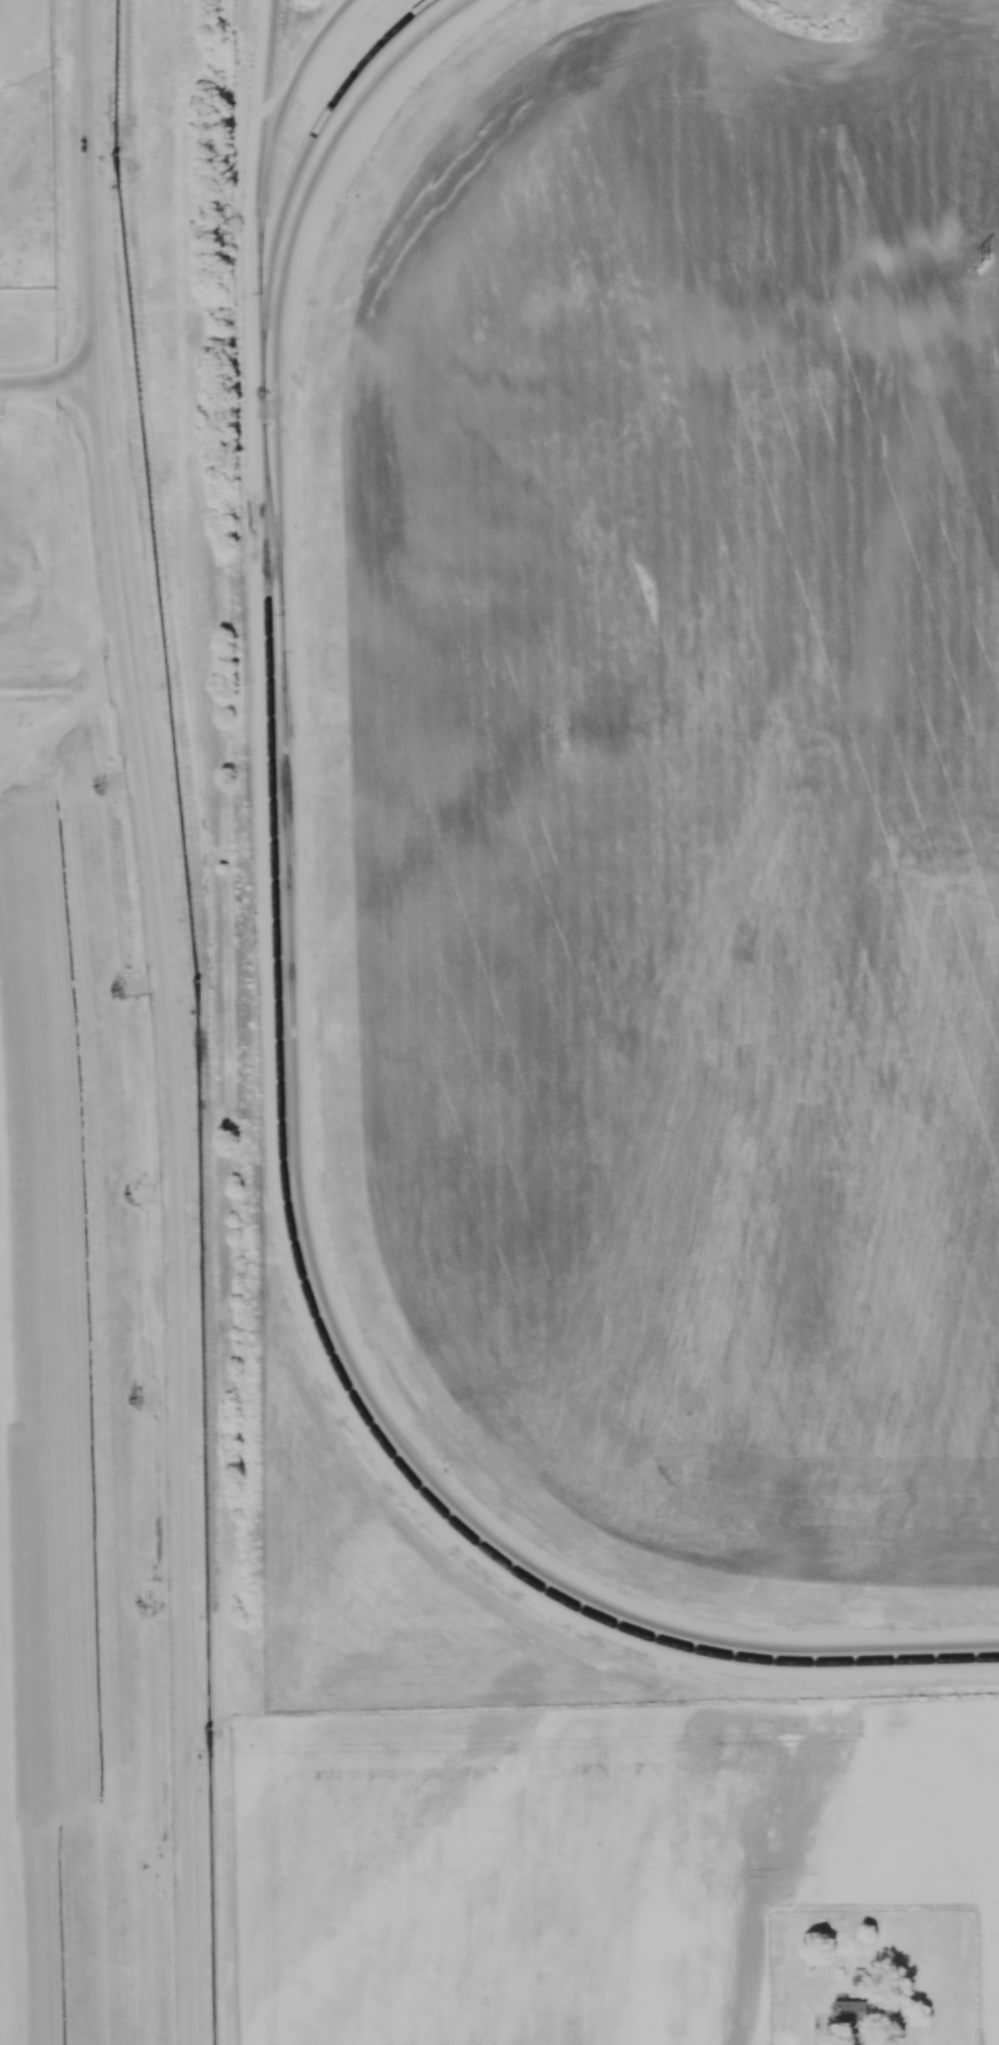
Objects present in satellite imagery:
railway: (276, 128)
wastewater plant: (27, 144)
railway: (297, 173)
railway: (258, 196)
railway: (286, 262)
power tower: (985, 263)
road: (47, 383)
railway: (272, 519)
road: (166, 1020)
railway: (301, 1270)
railway: (346, 1353)
road: (896, 2018)

